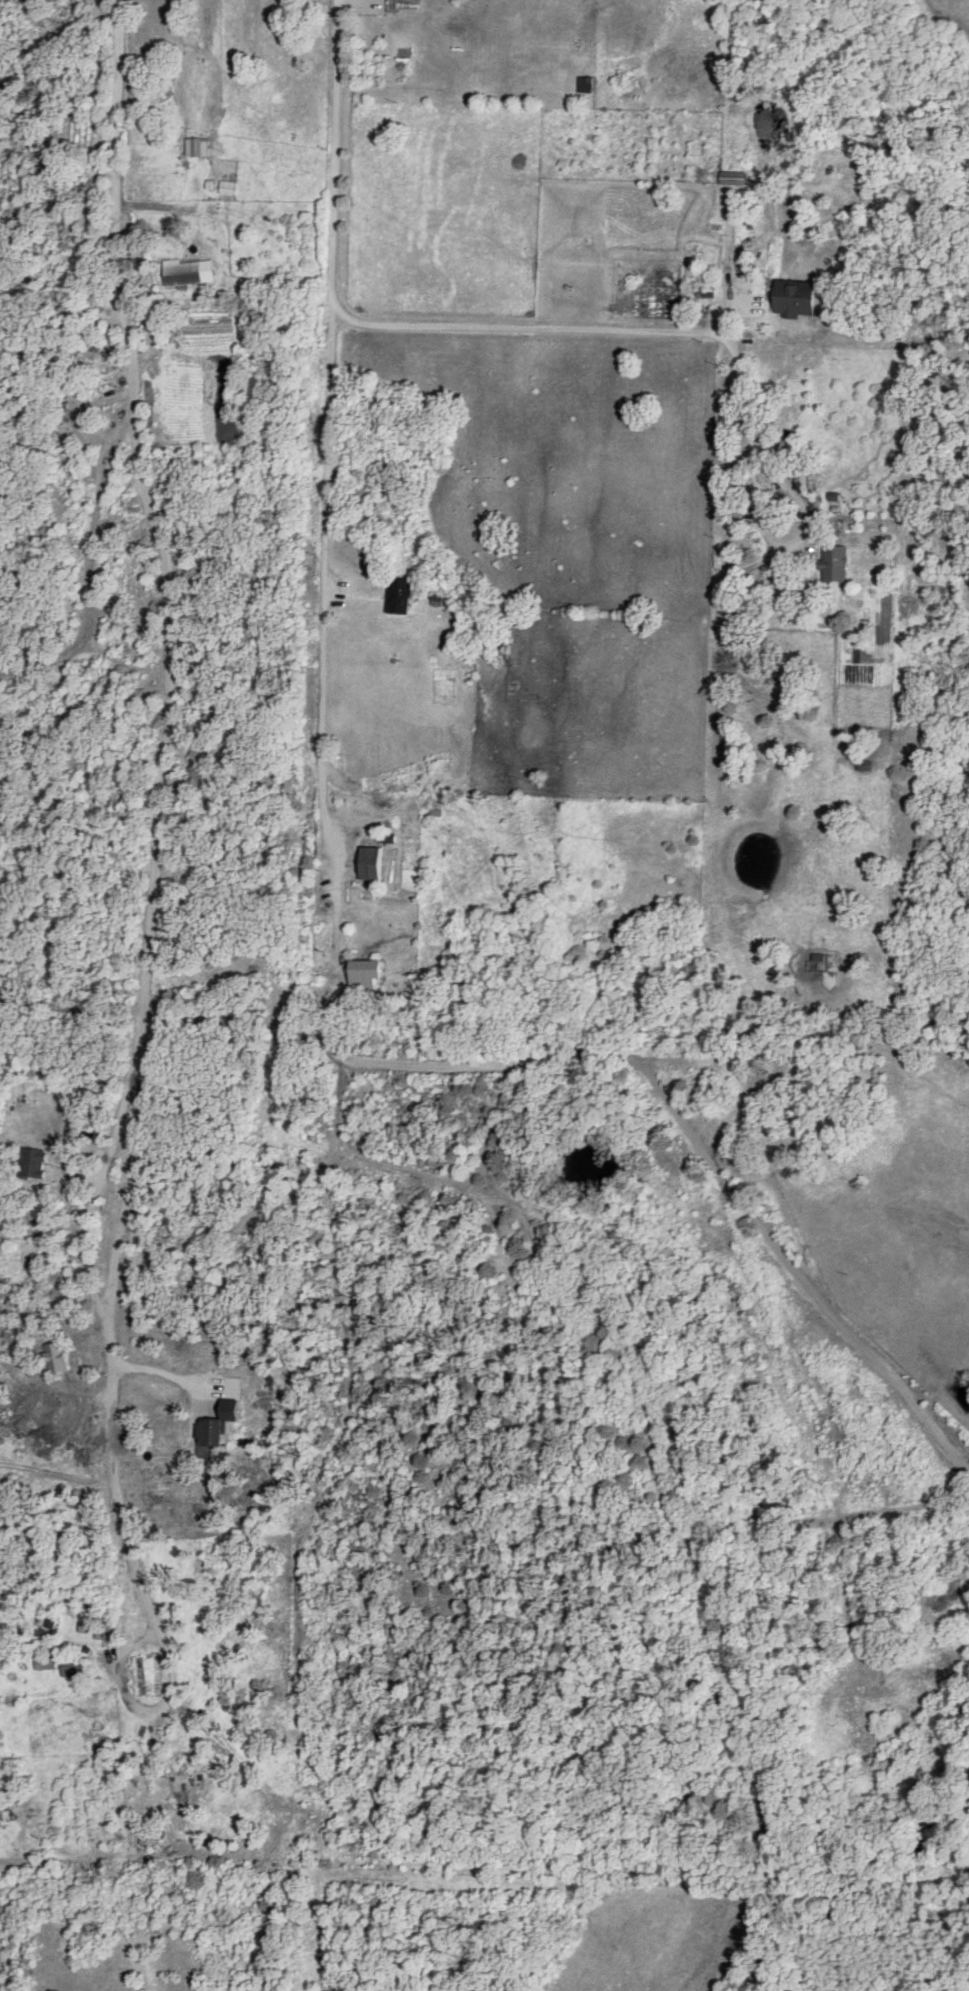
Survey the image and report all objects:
building: (588, 83)
building: (199, 146)
building: (730, 177)
building: (184, 272)
building: (794, 297)
road: (332, 308)
road: (710, 326)
building: (803, 479)
building: (835, 562)
building: (399, 601)
road: (325, 779)
building: (372, 862)
road: (154, 876)
building: (363, 974)
building: (33, 1163)
building: (57, 1357)
building: (207, 1432)
building: (73, 1666)
building: (187, 1781)

